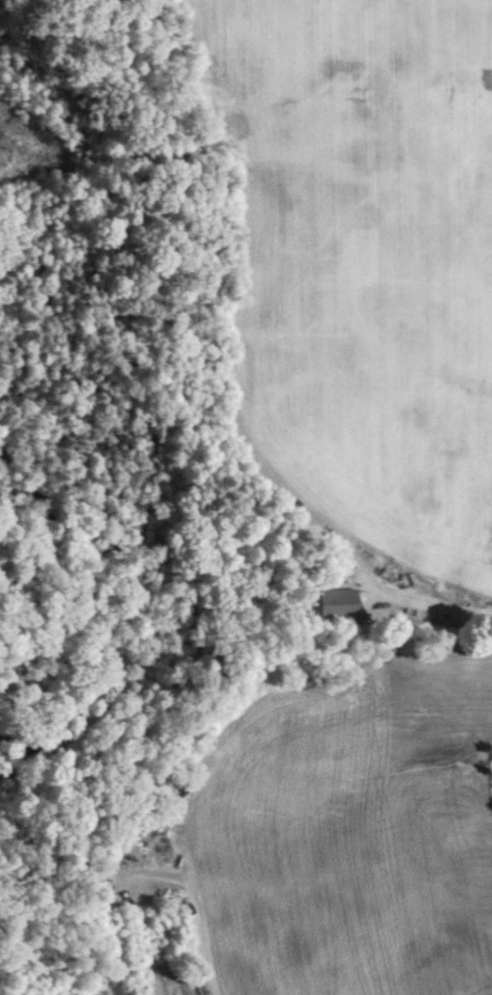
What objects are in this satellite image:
building: (344, 602)
road: (216, 971)

